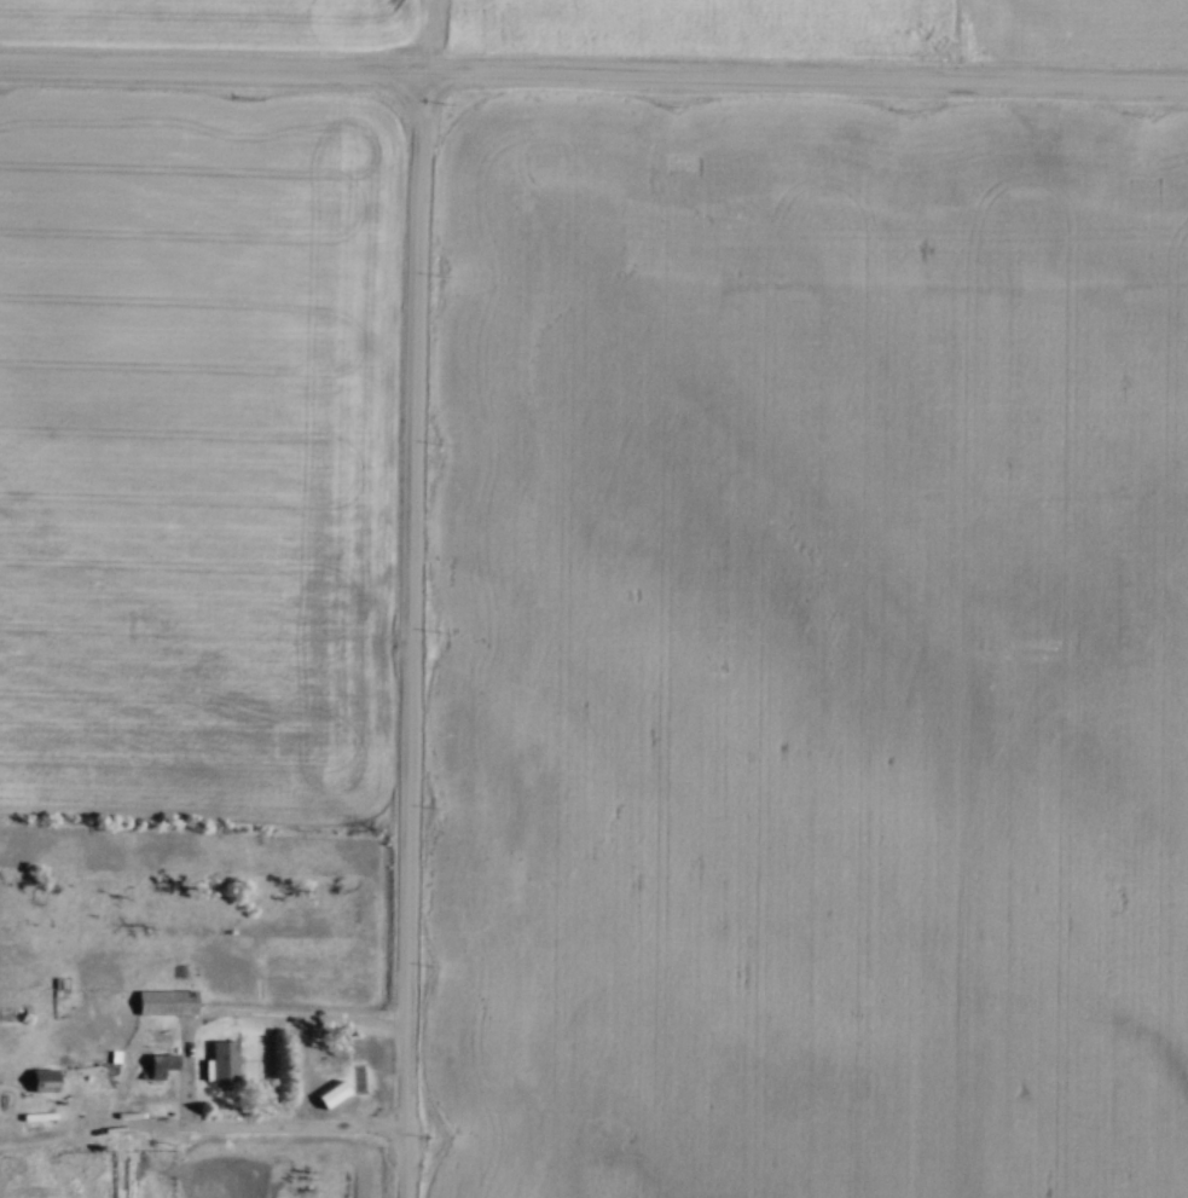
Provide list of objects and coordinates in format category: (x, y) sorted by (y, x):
crop: (637, 25)
road: (593, 73)
crop: (198, 450)
road: (412, 633)
crop: (811, 648)
building: (166, 1000)
building: (220, 1060)
building: (160, 1064)
road: (191, 1071)
building: (45, 1080)
building: (28, 1165)

